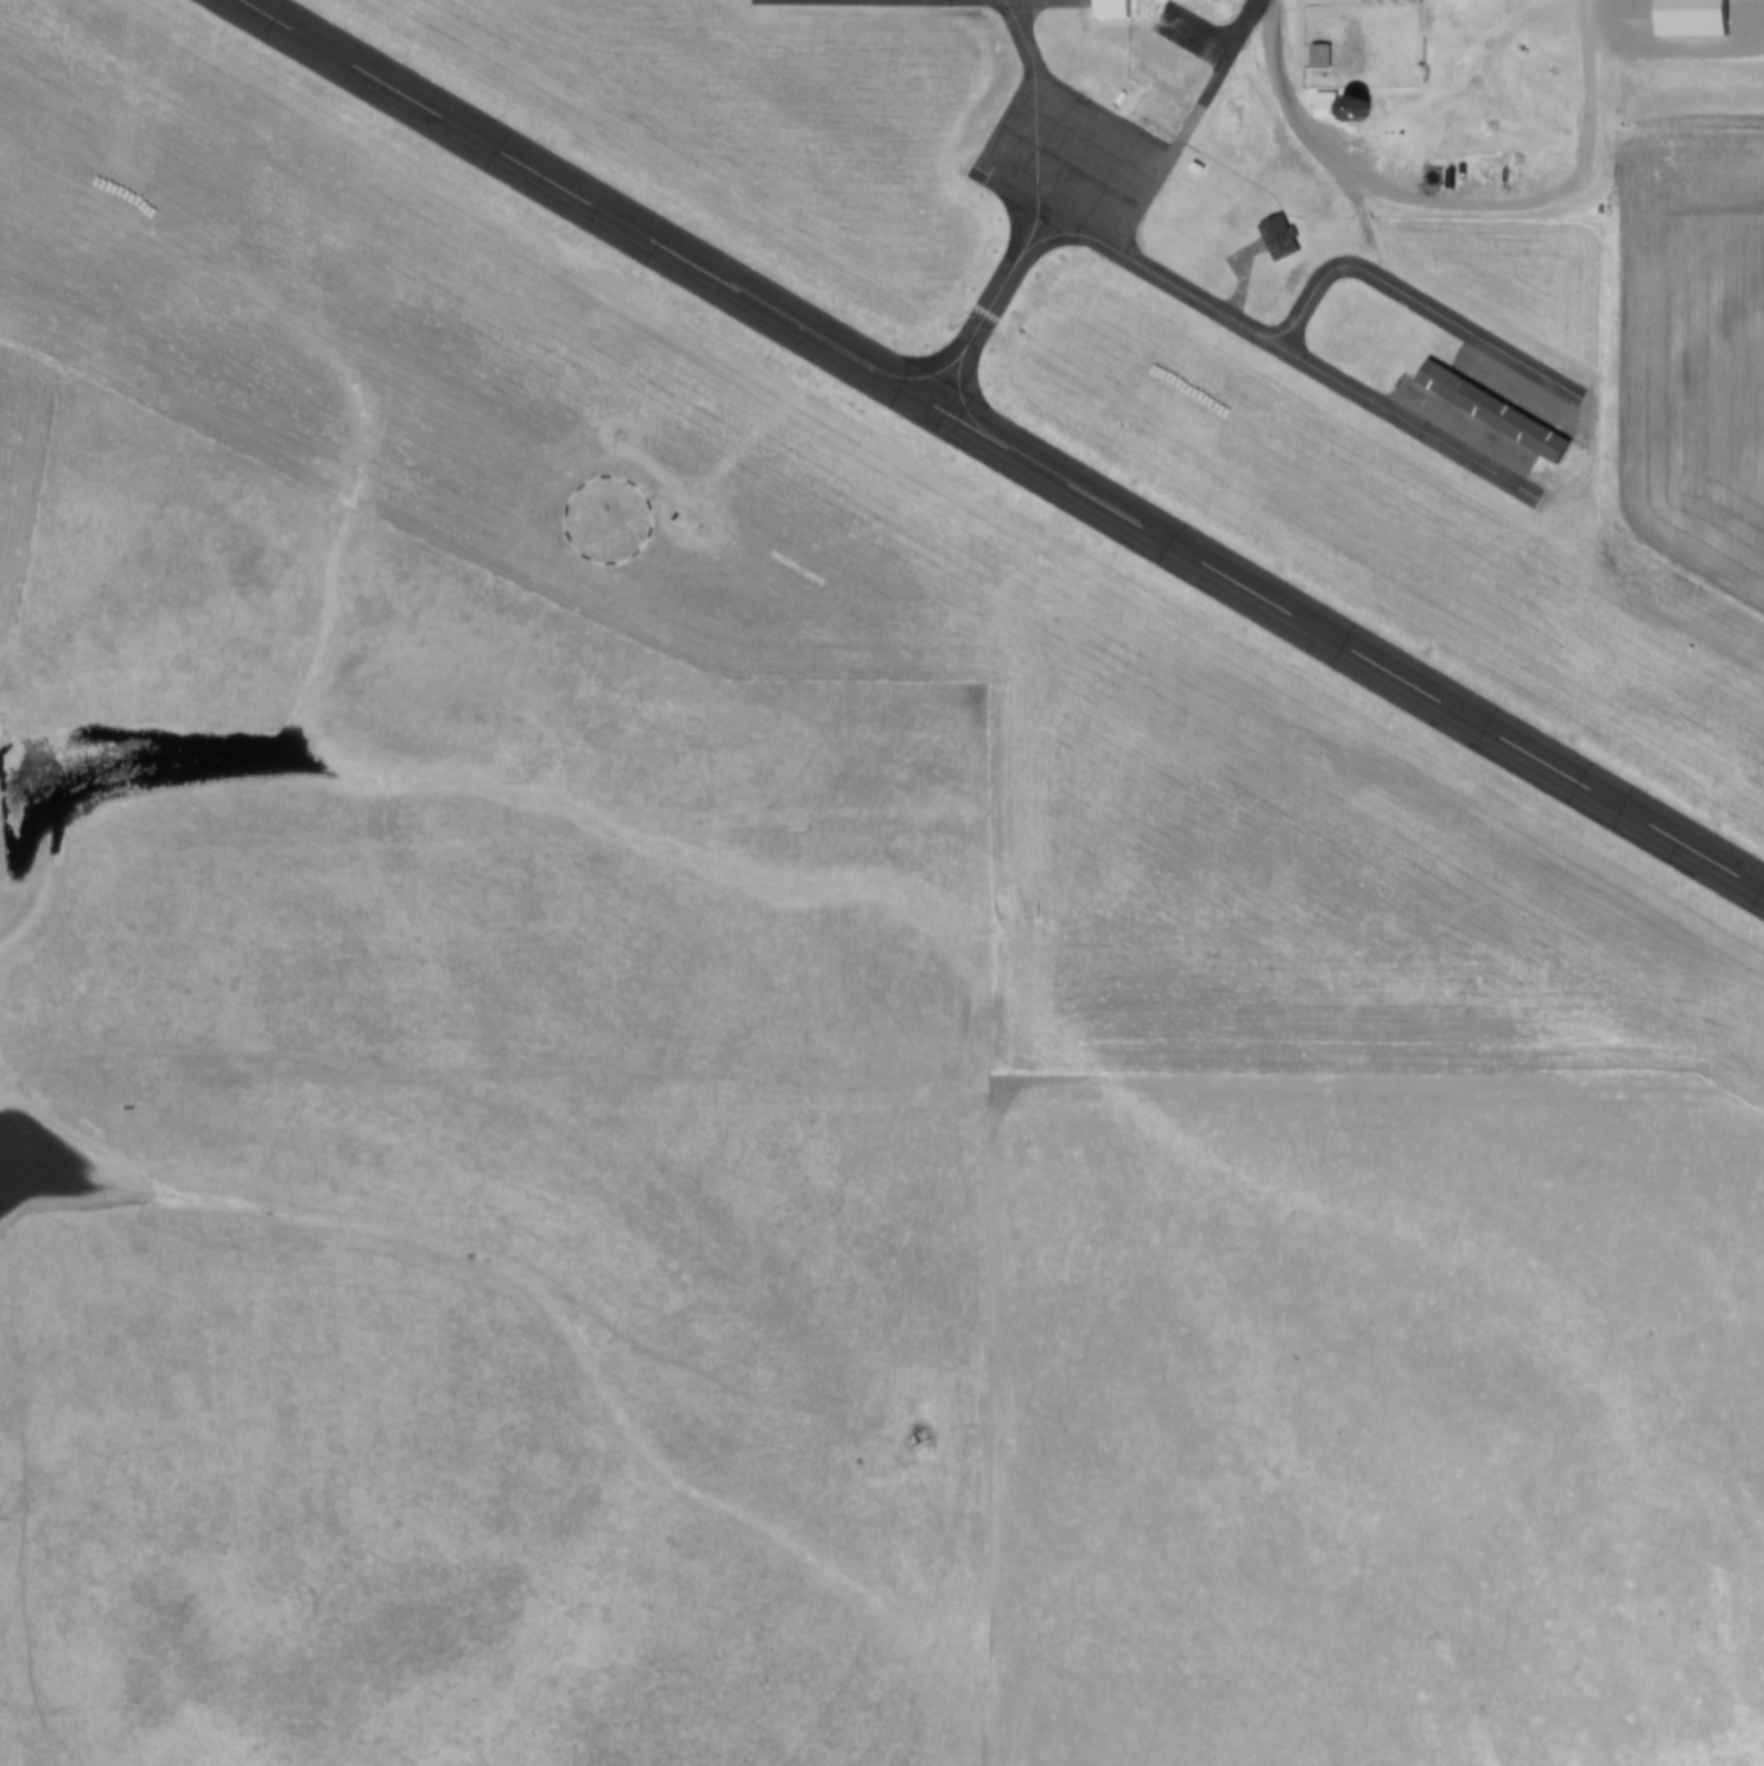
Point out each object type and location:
airport taxiway: (973, 1)
building: (1106, 10)
airport taxiway: (1005, 36)
building: (1313, 59)
building: (1314, 112)
road: (1185, 126)
airport apron: (1054, 163)
road: (1462, 201)
road: (1357, 230)
building: (1273, 240)
airport taxiway: (1408, 305)
airport taxiway: (978, 317)
airport taxiway: (1307, 371)
building: (1489, 414)
airport runway: (994, 450)
airport: (971, 480)

